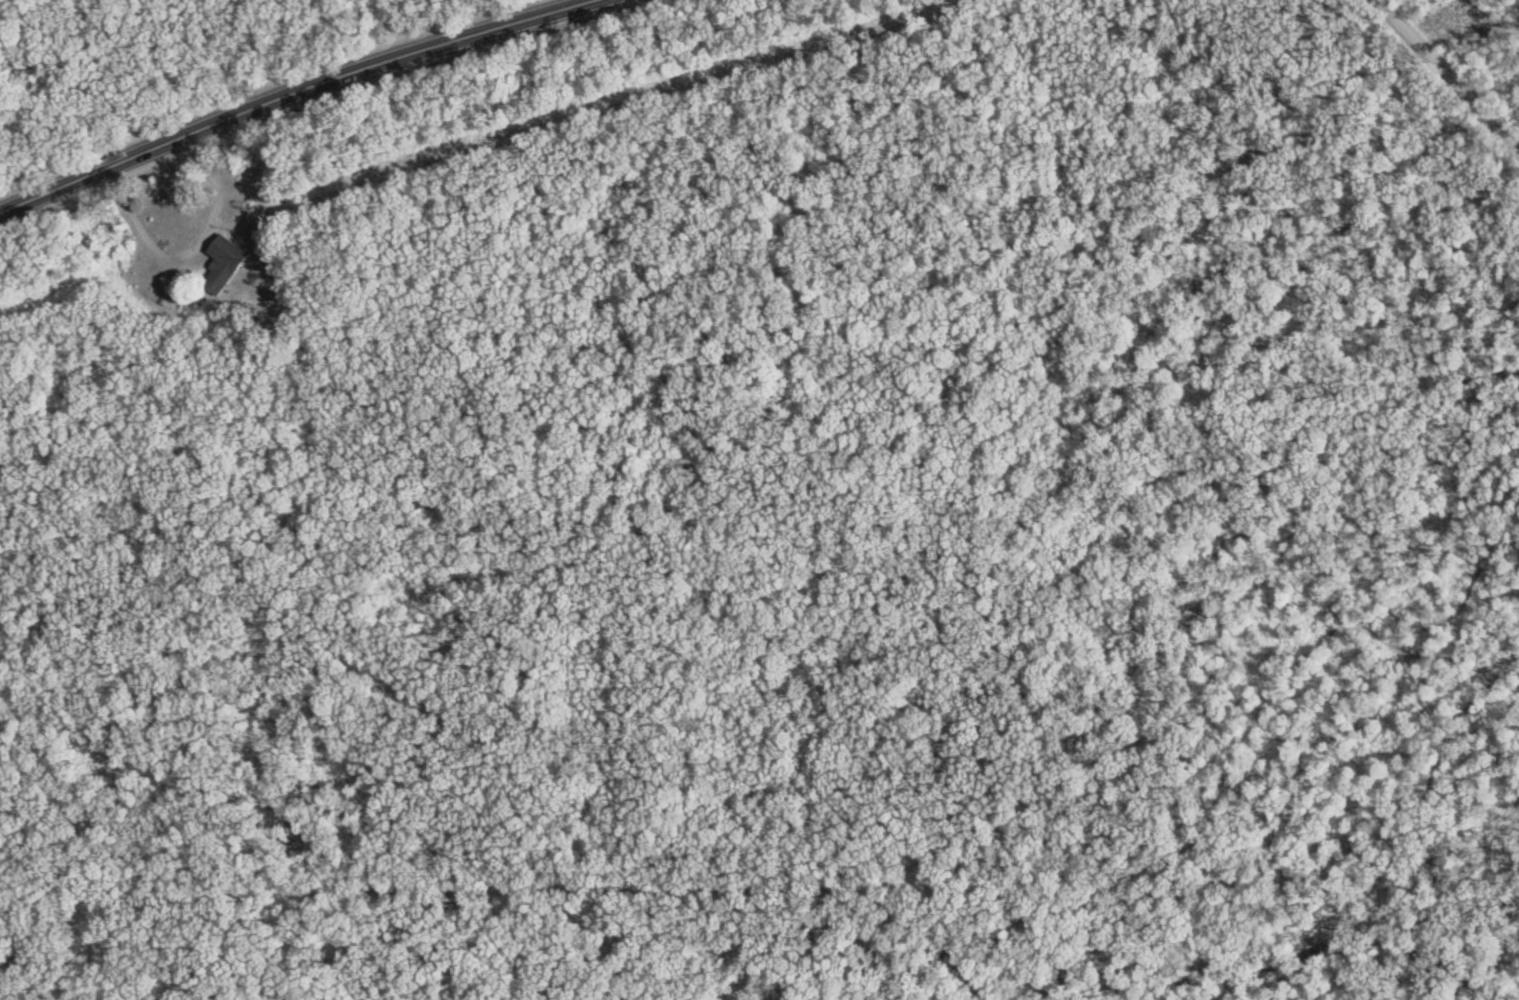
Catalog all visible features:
road: (1447, 76)
road: (291, 93)
road: (191, 244)
building: (227, 264)
road: (990, 408)
road: (969, 757)

